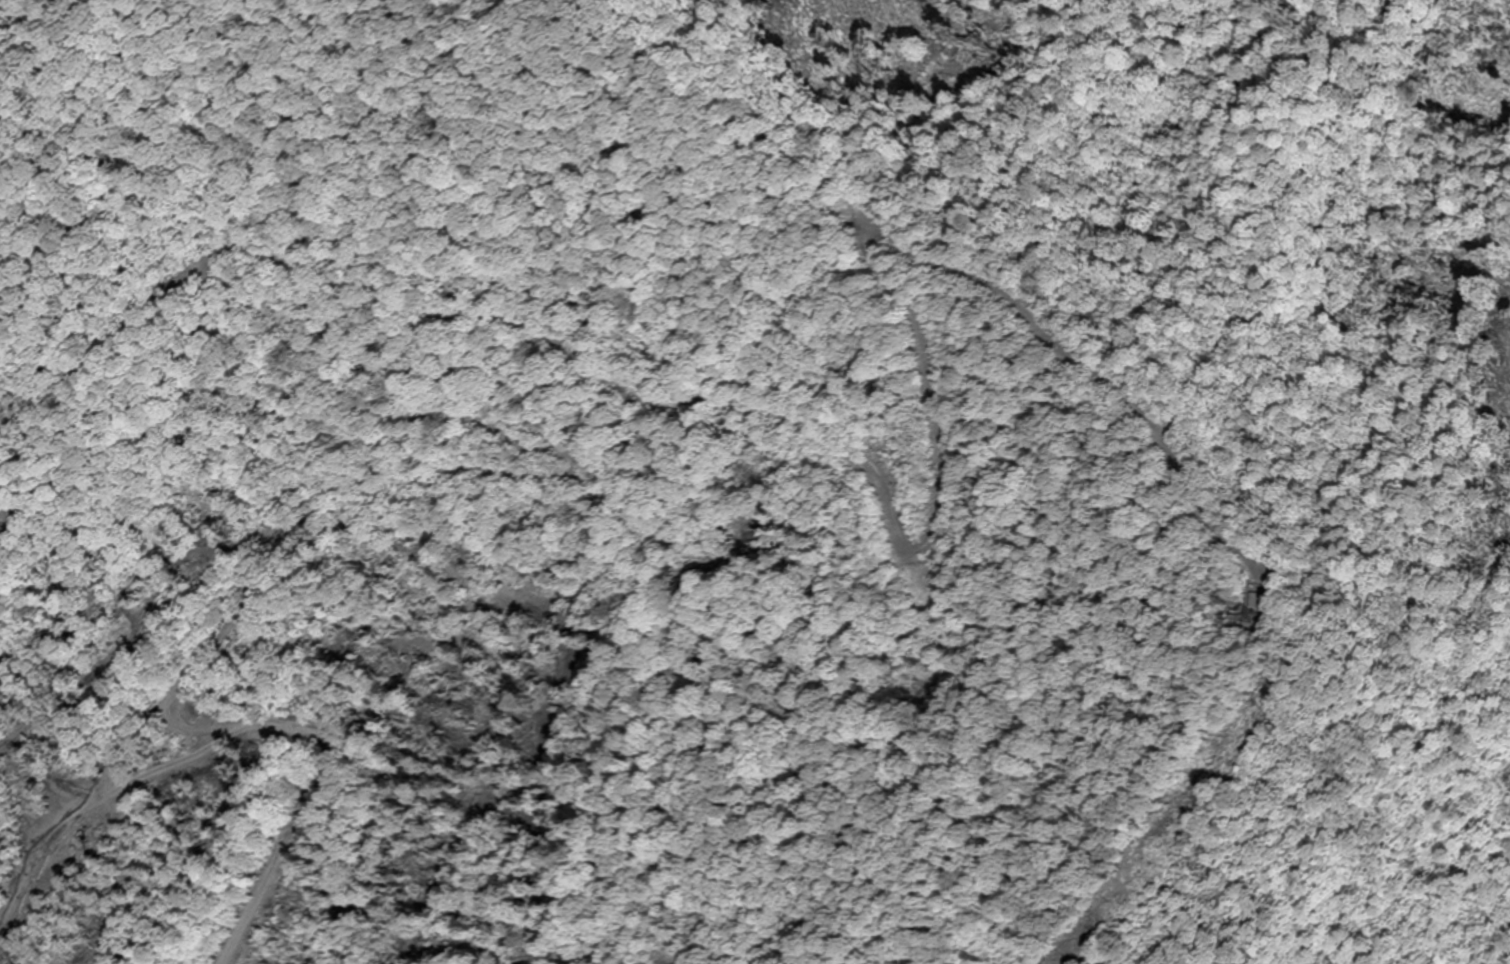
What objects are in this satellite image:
building: (1257, 605)

